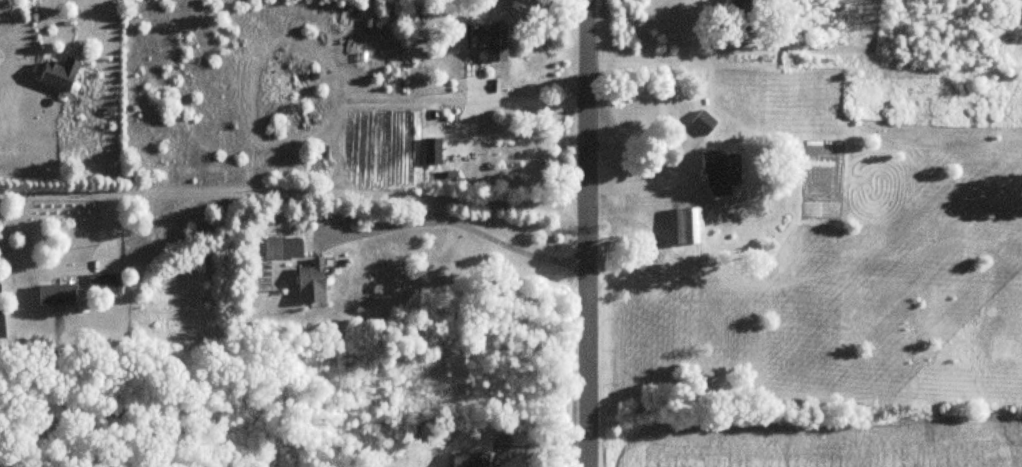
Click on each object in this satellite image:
building: (742, 14)
road: (80, 24)
building: (495, 43)
building: (61, 73)
road: (532, 105)
building: (642, 109)
building: (704, 122)
building: (433, 151)
road: (684, 157)
road: (293, 193)
road: (471, 226)
building: (690, 226)
road: (587, 233)
building: (284, 248)
building: (313, 282)
building: (102, 284)
building: (57, 294)
road: (549, 441)
building: (479, 460)

